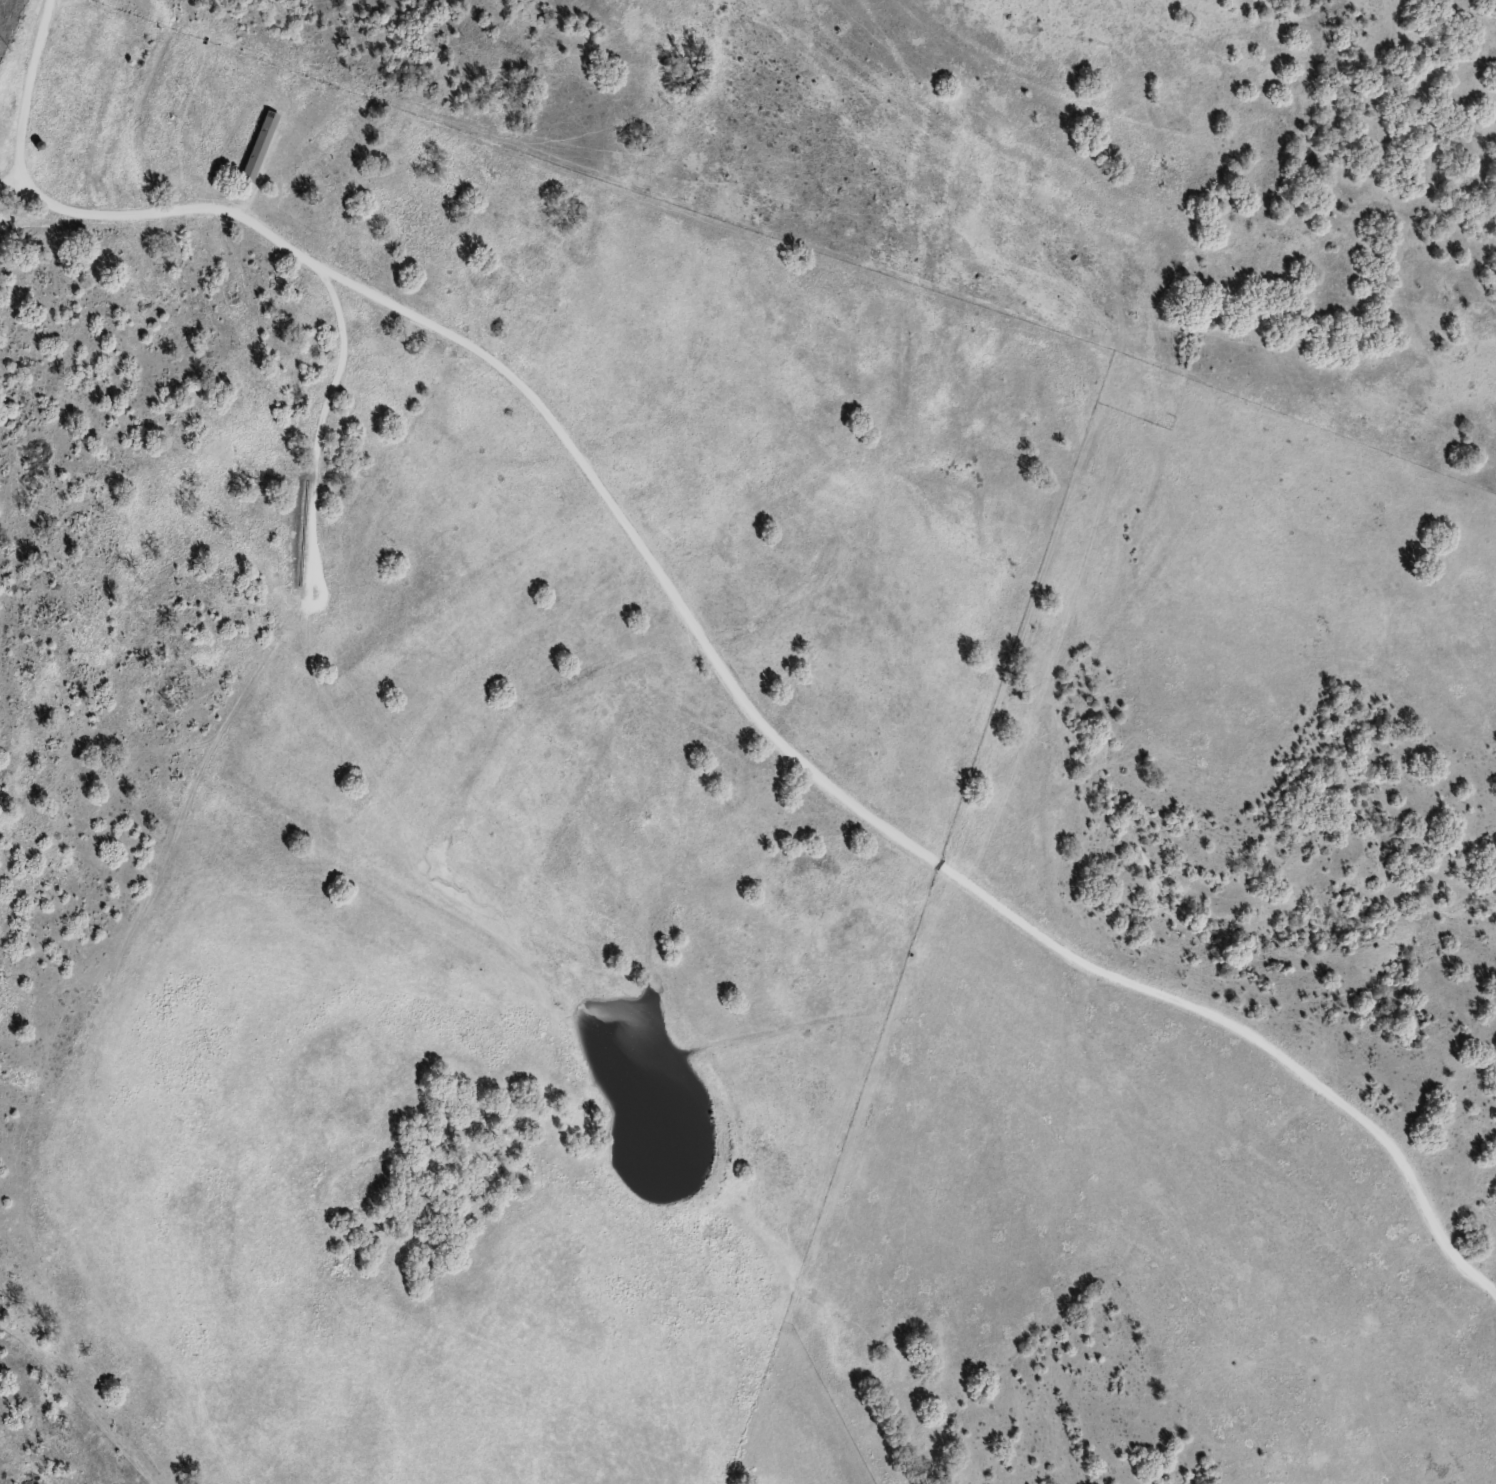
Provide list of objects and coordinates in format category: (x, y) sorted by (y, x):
road: (33, 92)
building: (260, 146)

